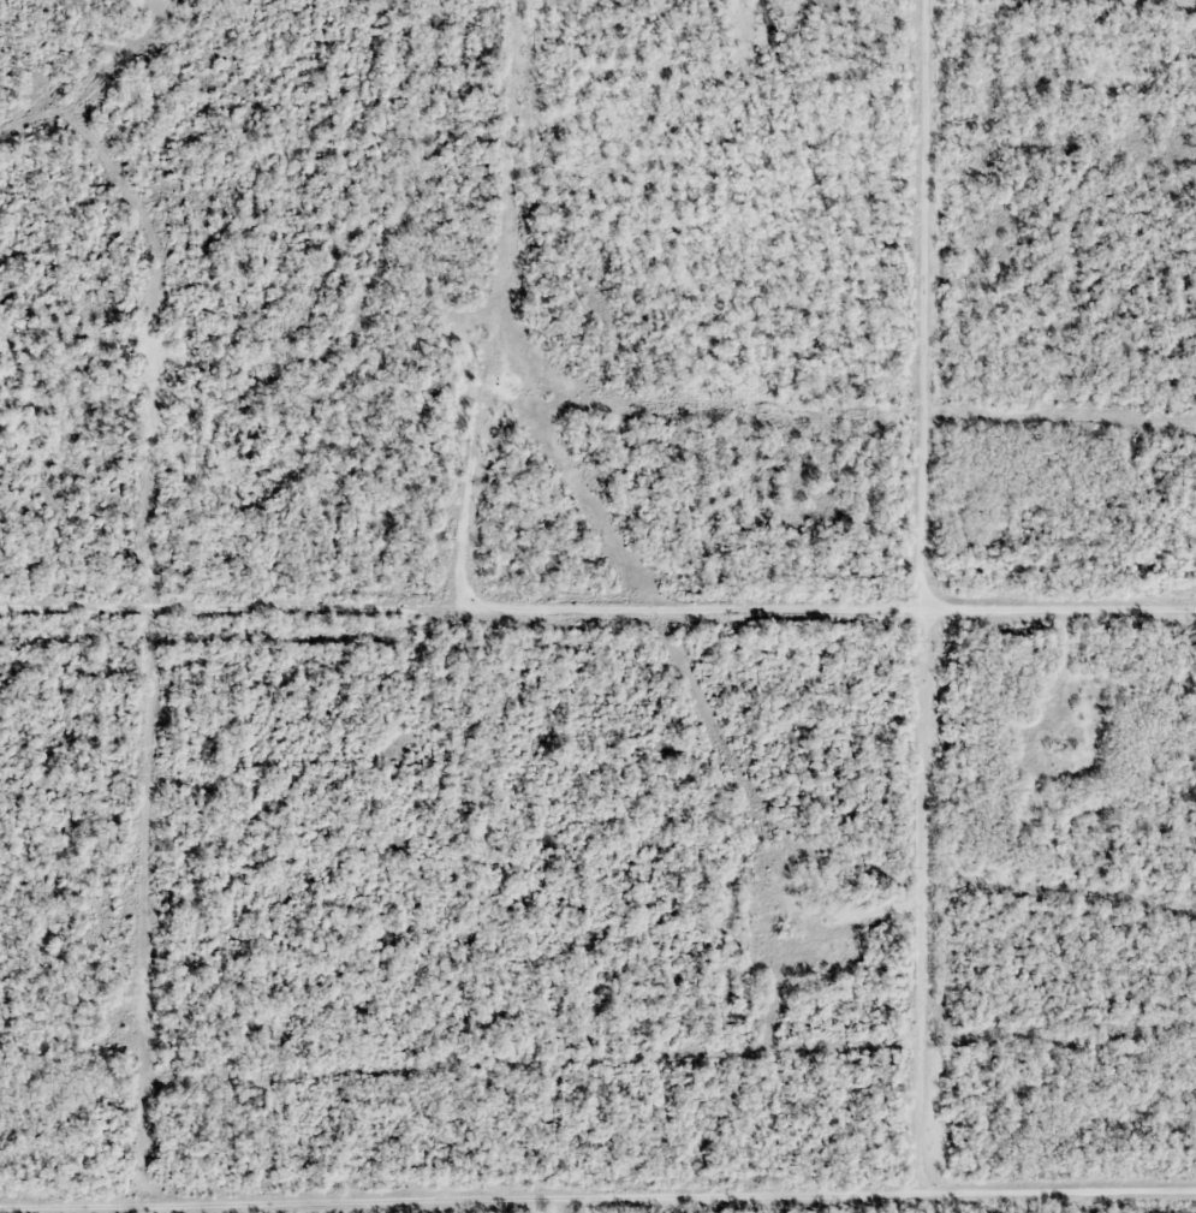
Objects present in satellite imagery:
road: (926, 602)
road: (597, 607)
road: (597, 1207)

